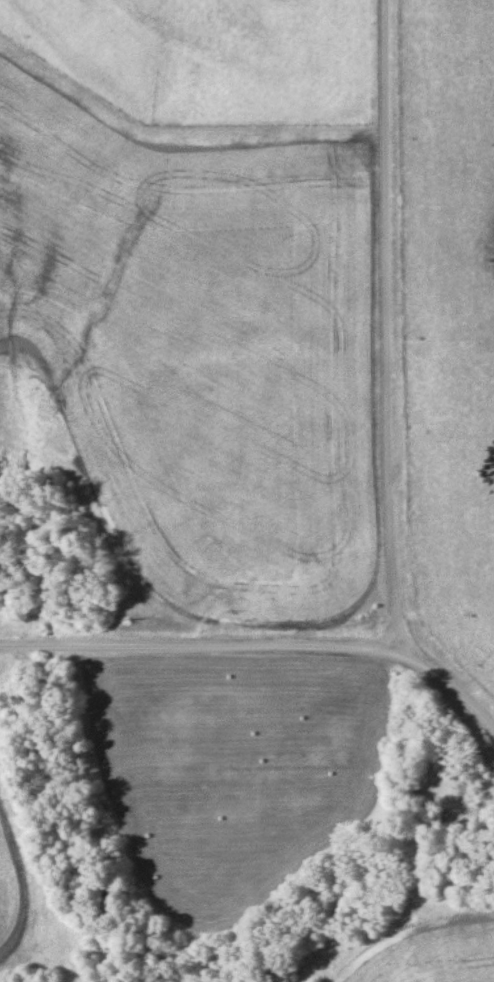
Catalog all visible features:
road: (389, 327)
road: (205, 645)
road: (453, 685)

